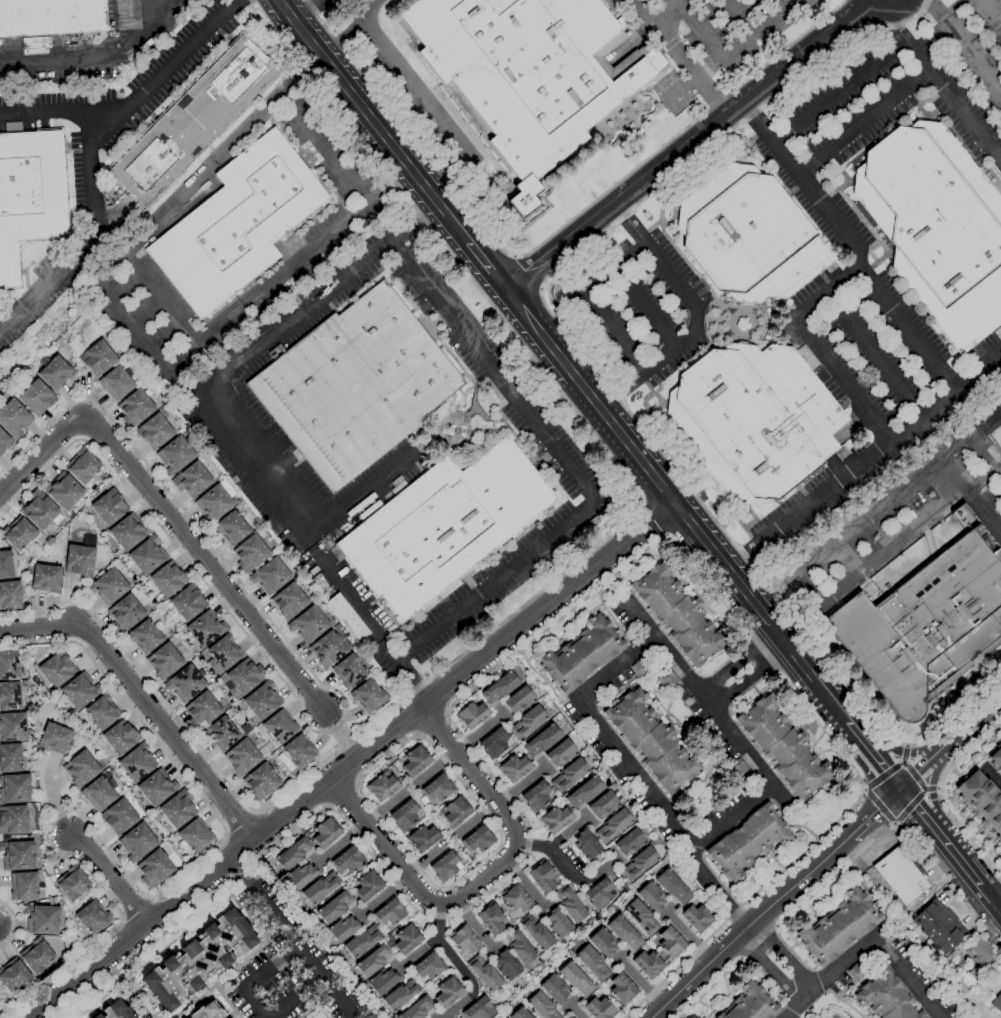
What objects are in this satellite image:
road: (928, 2)
road: (780, 5)
road: (664, 8)
road: (308, 11)
road: (990, 13)
building: (50, 17)
road: (741, 17)
road: (896, 21)
road: (349, 28)
road: (897, 44)
road: (965, 47)
road: (733, 51)
road: (685, 54)
road: (94, 55)
road: (166, 67)
building: (530, 73)
road: (423, 106)
road: (41, 117)
road: (864, 118)
building: (192, 121)
road: (373, 122)
road: (689, 144)
road: (325, 147)
road: (202, 172)
building: (29, 195)
road: (646, 197)
building: (238, 223)
building: (937, 227)
road: (551, 234)
building: (748, 235)
road: (78, 237)
road: (854, 243)
road: (487, 266)
road: (253, 298)
road: (588, 298)
road: (163, 301)
road: (645, 303)
road: (696, 314)
road: (818, 348)
road: (253, 352)
building: (97, 358)
road: (882, 366)
building: (54, 371)
building: (116, 382)
building: (355, 385)
building: (36, 398)
building: (135, 408)
building: (14, 418)
building: (754, 419)
building: (154, 431)
building: (4, 442)
road: (986, 451)
building: (175, 454)
road: (50, 455)
road: (862, 460)
road: (1000, 465)
building: (82, 466)
road: (574, 468)
building: (191, 479)
building: (63, 491)
road: (357, 495)
building: (215, 501)
road: (676, 506)
building: (109, 507)
building: (39, 509)
road: (983, 509)
road: (655, 519)
building: (970, 524)
building: (444, 525)
building: (231, 528)
building: (128, 532)
building: (18, 533)
building: (250, 553)
building: (147, 555)
building: (81, 557)
building: (6, 564)
road: (214, 572)
road: (798, 574)
building: (270, 575)
building: (46, 578)
building: (168, 579)
building: (108, 586)
building: (10, 595)
road: (350, 597)
building: (289, 601)
road: (528, 601)
building: (188, 602)
building: (125, 613)
building: (677, 614)
building: (347, 617)
building: (308, 624)
building: (925, 626)
building: (205, 628)
building: (145, 636)
building: (327, 649)
building: (224, 652)
building: (582, 654)
building: (164, 661)
road: (505, 662)
road: (738, 662)
road: (624, 663)
building: (9, 665)
building: (640, 667)
building: (55, 669)
building: (350, 671)
building: (245, 676)
road: (748, 676)
building: (668, 679)
road: (409, 682)
building: (185, 683)
building: (500, 687)
building: (80, 690)
building: (10, 696)
building: (368, 696)
road: (141, 699)
building: (262, 700)
building: (519, 700)
building: (202, 710)
building: (102, 712)
road: (447, 712)
road: (346, 714)
building: (471, 715)
road: (970, 721)
road: (431, 722)
building: (527, 722)
building: (12, 726)
building: (280, 727)
road: (478, 732)
building: (222, 733)
road: (418, 735)
building: (120, 737)
building: (55, 738)
road: (992, 739)
building: (542, 740)
building: (651, 741)
building: (494, 743)
building: (783, 747)
building: (299, 750)
building: (561, 753)
road: (903, 753)
road: (874, 755)
building: (10, 757)
building: (242, 757)
building: (995, 758)
road: (352, 760)
building: (415, 760)
building: (137, 762)
building: (738, 767)
building: (80, 768)
building: (514, 768)
road: (920, 769)
road: (956, 773)
building: (569, 775)
road: (991, 775)
building: (261, 781)
road: (357, 784)
building: (157, 787)
building: (381, 787)
building: (437, 788)
building: (15, 789)
road: (931, 791)
building: (584, 792)
building: (98, 794)
road: (340, 794)
building: (536, 796)
road: (941, 796)
building: (981, 801)
building: (603, 804)
road: (328, 807)
road: (879, 807)
building: (178, 809)
road: (919, 810)
road: (958, 810)
building: (455, 811)
road: (875, 813)
building: (404, 815)
building: (119, 817)
building: (13, 819)
building: (555, 819)
road: (967, 820)
building: (613, 825)
road: (976, 830)
building: (326, 832)
road: (568, 833)
building: (195, 835)
building: (422, 838)
building: (478, 839)
road: (499, 841)
building: (137, 842)
building: (630, 842)
building: (748, 842)
road: (340, 843)
building: (586, 844)
road: (990, 847)
building: (293, 853)
building: (17, 855)
road: (995, 858)
building: (348, 860)
road: (959, 860)
building: (639, 863)
building: (446, 866)
building: (154, 868)
road: (566, 870)
building: (301, 875)
building: (542, 876)
building: (900, 876)
road: (108, 878)
road: (482, 879)
building: (72, 883)
road: (526, 883)
building: (367, 885)
building: (24, 886)
building: (320, 887)
building: (673, 887)
road: (146, 893)
building: (599, 893)
road: (383, 896)
building: (651, 896)
building: (516, 899)
road: (990, 899)
building: (570, 904)
building: (335, 906)
building: (889, 908)
building: (389, 913)
building: (640, 916)
building: (93, 917)
building: (491, 918)
building: (696, 918)
road: (785, 918)
building: (42, 919)
building: (557, 923)
road: (14, 924)
road: (474, 925)
building: (939, 925)
road: (748, 926)
building: (838, 927)
building: (343, 928)
building: (536, 932)
building: (624, 933)
road: (292, 937)
building: (407, 939)
building: (464, 940)
building: (362, 941)
building: (602, 942)
building: (670, 942)
road: (878, 945)
building: (519, 946)
building: (980, 949)
road: (418, 952)
road: (785, 954)
building: (36, 955)
building: (954, 955)
building: (376, 958)
building: (198, 959)
building: (592, 962)
road: (459, 964)
building: (648, 964)
building: (506, 965)
building: (428, 966)
road: (769, 968)
building: (957, 970)
building: (857, 971)
building: (485, 973)
building: (13, 975)
road: (255, 977)
building: (575, 978)
building: (970, 979)
building: (383, 981)
building: (959, 986)
building: (554, 988)
building: (622, 988)
building: (448, 991)
building: (402, 994)
road: (295, 996)
building: (986, 997)
building: (887, 998)
building: (751, 1004)
building: (542, 1006)
building: (417, 1008)
building: (599, 1008)
building: (479, 1009)
building: (117, 1011)
building: (207, 1011)
building: (519, 1013)
building: (97, 1016)
building: (570, 1017)
building: (571, 1017)

